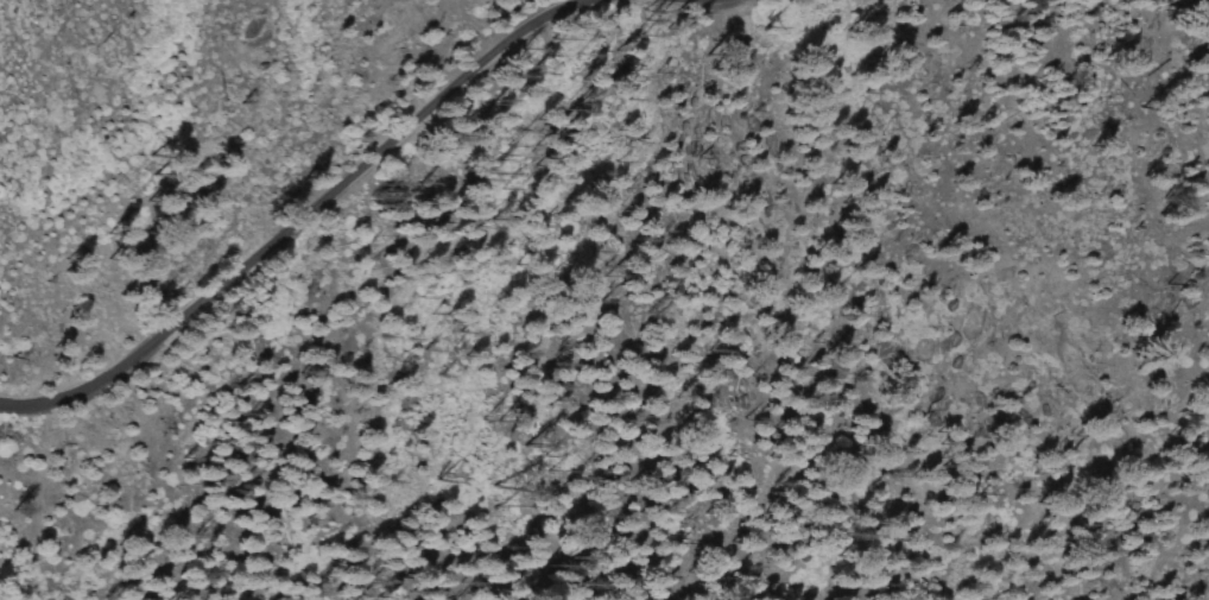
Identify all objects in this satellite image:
road: (296, 219)

